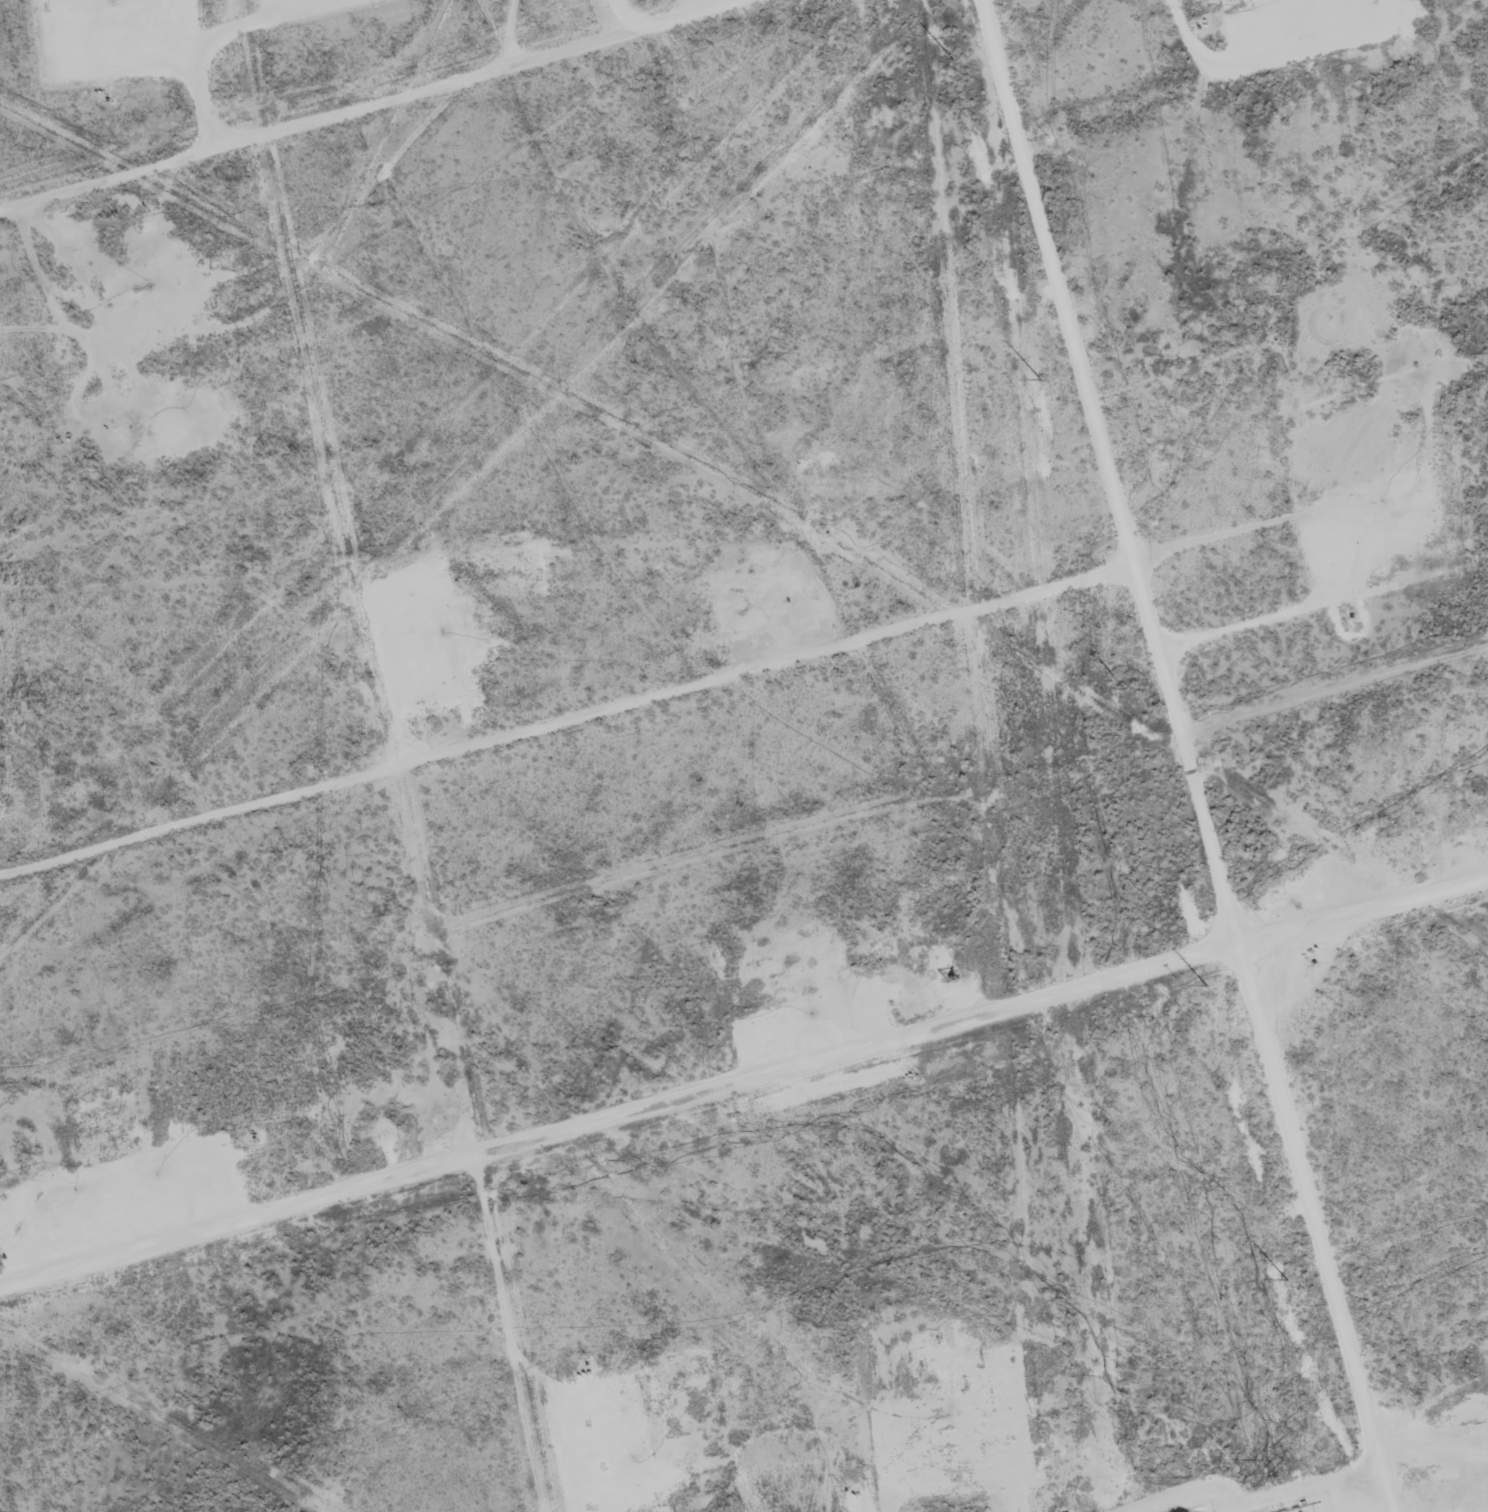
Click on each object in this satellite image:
power tower: (954, 54)
road: (355, 108)
power tower: (1043, 376)
power tower: (1125, 683)
road: (549, 731)
road: (1150, 757)
power tower: (1207, 983)
road: (743, 1080)
power tower: (1289, 1275)

